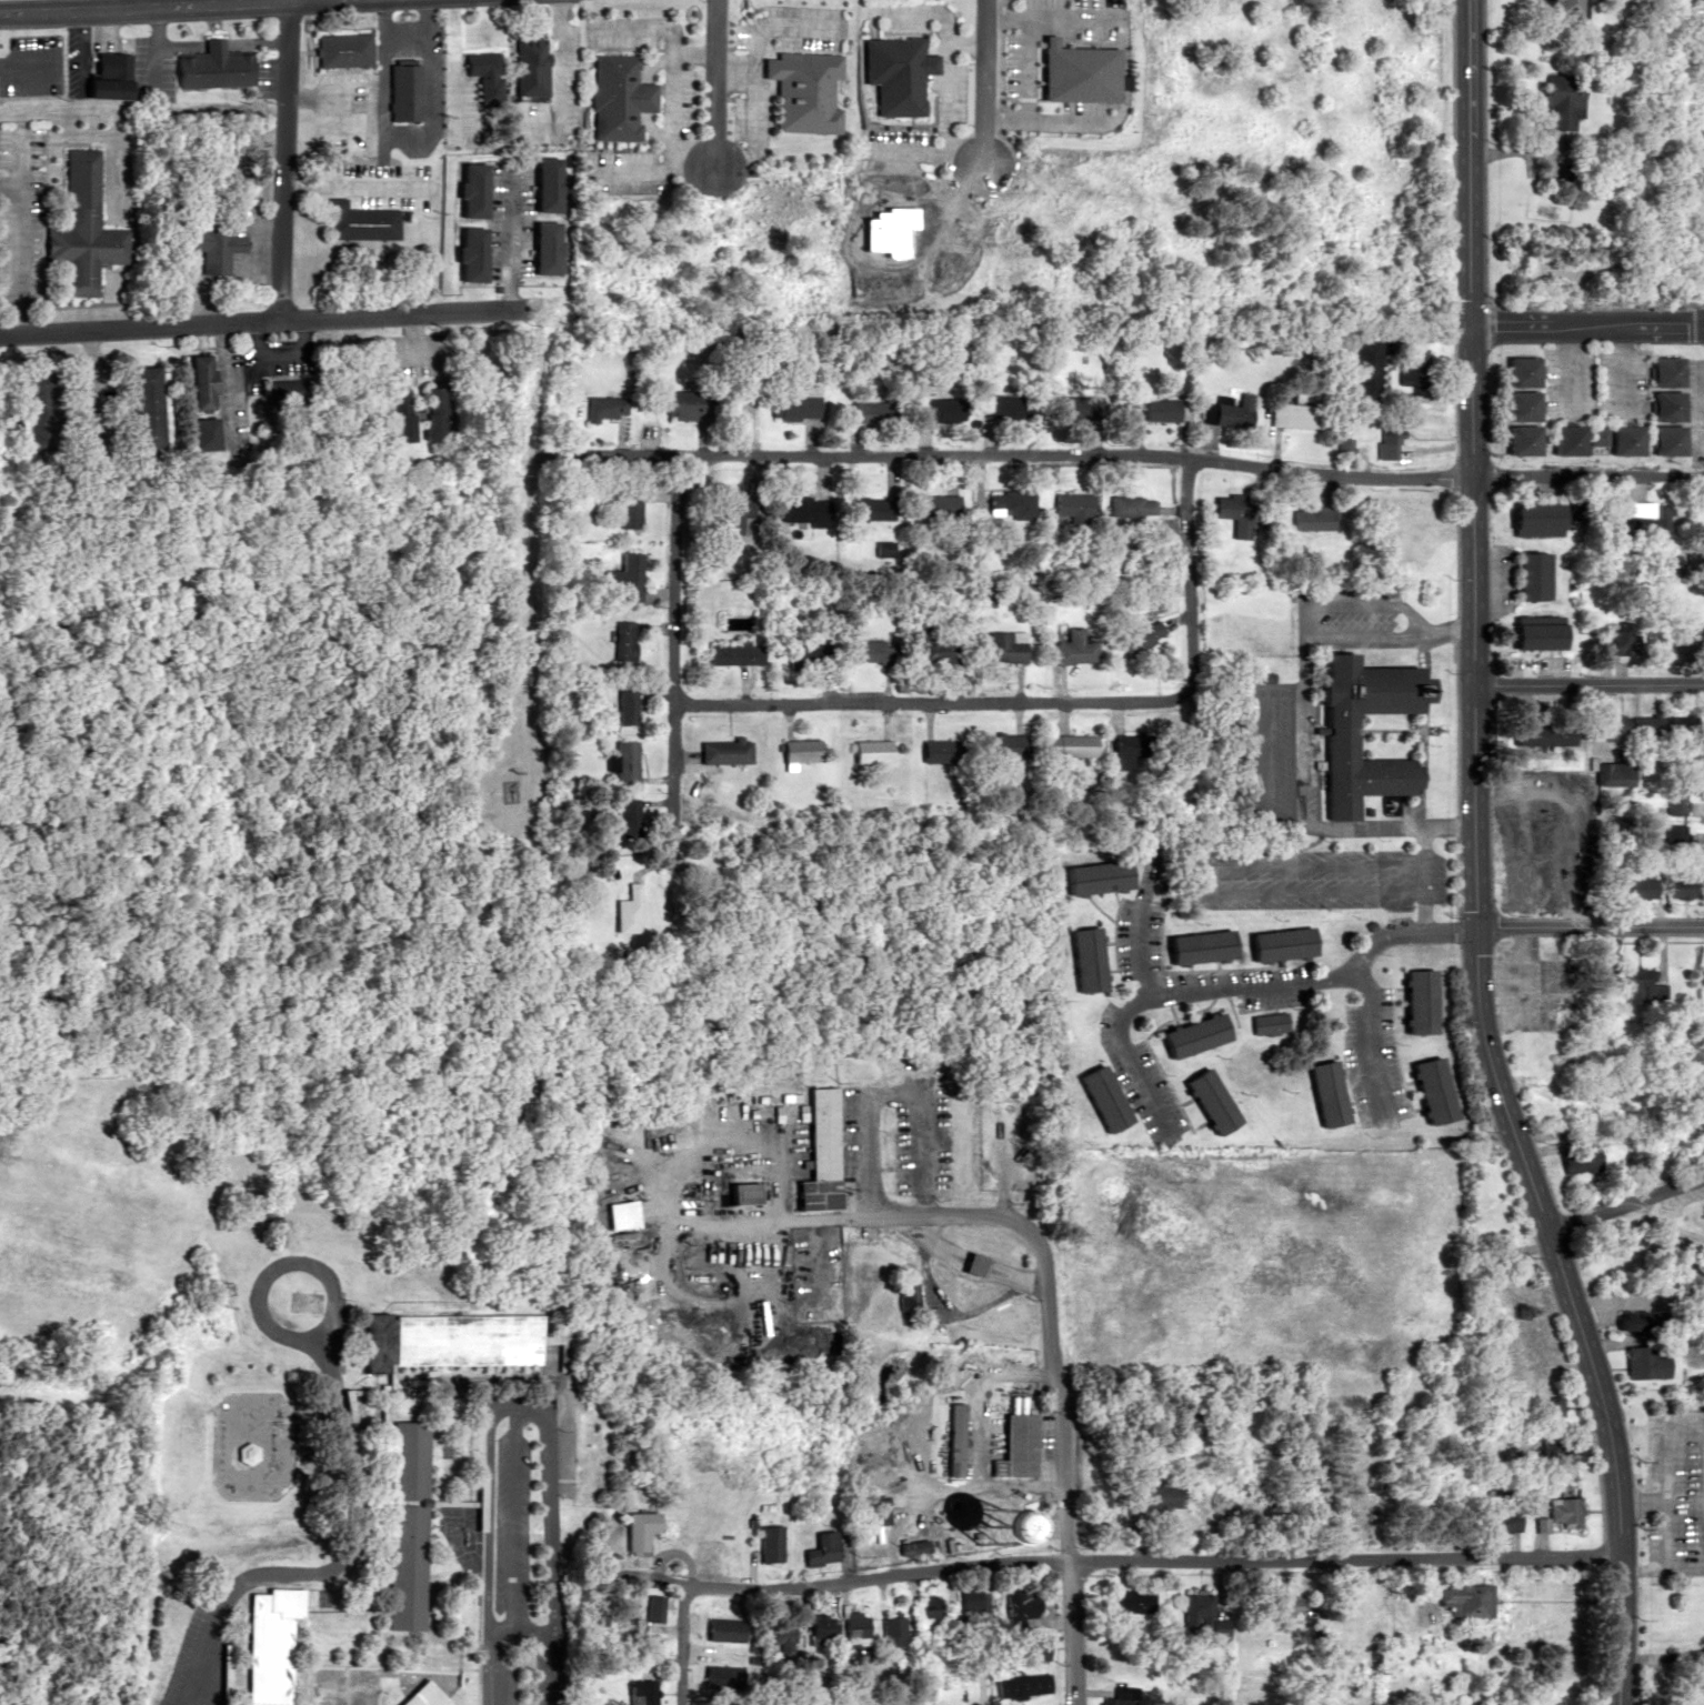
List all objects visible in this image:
road: (118, 3)
road: (143, 6)
building: (1558, 7)
building: (343, 50)
building: (479, 62)
road: (558, 63)
building: (215, 67)
building: (528, 68)
building: (890, 72)
building: (114, 76)
road: (985, 84)
road: (715, 87)
building: (800, 89)
building: (403, 91)
building: (614, 96)
building: (1557, 99)
road: (279, 159)
building: (541, 183)
building: (468, 190)
building: (360, 221)
building: (84, 244)
building: (217, 247)
building: (539, 248)
building: (465, 253)
road: (261, 320)
road: (1587, 325)
building: (1365, 370)
building: (1661, 370)
building: (1412, 371)
building: (1514, 371)
building: (206, 382)
building: (288, 391)
building: (791, 402)
building: (996, 404)
building: (1513, 405)
building: (1661, 405)
building: (150, 407)
building: (1074, 407)
building: (605, 408)
building: (1159, 408)
building: (681, 409)
building: (932, 409)
building: (1230, 410)
building: (40, 412)
building: (864, 412)
building: (438, 413)
building: (1289, 414)
building: (408, 431)
building: (208, 433)
building: (1608, 438)
building: (1386, 440)
building: (1514, 440)
building: (1557, 440)
building: (1658, 440)
building: (1342, 447)
road: (1085, 455)
road: (1587, 475)
building: (1005, 504)
building: (931, 505)
building: (1132, 505)
building: (1606, 505)
building: (1070, 507)
building: (871, 508)
building: (628, 509)
building: (800, 510)
building: (731, 511)
building: (1234, 513)
building: (1528, 516)
building: (1646, 518)
building: (1309, 519)
road: (1190, 574)
building: (1524, 575)
building: (628, 579)
road: (674, 632)
building: (1136, 636)
building: (1527, 636)
building: (625, 641)
building: (1620, 642)
building: (999, 645)
building: (803, 648)
building: (1069, 648)
building: (936, 650)
building: (862, 651)
building: (734, 654)
road: (1587, 684)
road: (932, 700)
building: (627, 706)
building: (1622, 724)
building: (1676, 724)
road: (1305, 732)
building: (1335, 735)
building: (1545, 740)
building: (1002, 744)
building: (1064, 745)
building: (796, 751)
building: (868, 751)
building: (936, 751)
building: (1126, 751)
building: (728, 752)
building: (628, 763)
building: (1608, 774)
building: (1671, 800)
building: (1507, 829)
road: (1155, 844)
road: (1473, 862)
building: (1676, 864)
building: (1612, 870)
building: (1090, 877)
building: (1511, 879)
building: (1638, 887)
building: (630, 911)
road: (1588, 927)
building: (1275, 944)
building: (1192, 946)
building: (1076, 959)
building: (1504, 974)
building: (1598, 975)
road: (1234, 984)
building: (1641, 984)
building: (1412, 999)
building: (1266, 1023)
building: (1187, 1032)
road: (1376, 1033)
road: (893, 1087)
building: (1425, 1087)
building: (1324, 1091)
building: (1096, 1095)
building: (1205, 1099)
building: (815, 1152)
building: (1576, 1159)
road: (772, 1181)
parking lot: (1703, 1184)
building: (739, 1191)
road: (1693, 1193)
road: (1624, 1208)
building: (1491, 1216)
road: (920, 1217)
road: (668, 1230)
park: (1650, 1244)
building: (968, 1263)
road: (1557, 1312)
road: (298, 1337)
building: (439, 1338)
building: (1638, 1362)
building: (1545, 1402)
building: (948, 1438)
building: (1014, 1441)
building: (1553, 1450)
building: (1703, 1492)
road: (1063, 1495)
building: (1155, 1495)
building: (868, 1508)
building: (1560, 1511)
building: (1494, 1520)
building: (402, 1524)
building: (630, 1528)
building: (759, 1542)
road: (491, 1543)
road: (557, 1545)
building: (818, 1548)
road: (1147, 1559)
road: (337, 1563)
building: (968, 1598)
building: (1457, 1598)
building: (1131, 1601)
building: (1019, 1603)
building: (924, 1605)
building: (1280, 1605)
building: (646, 1607)
building: (591, 1611)
building: (1199, 1614)
building: (619, 1615)
building: (719, 1628)
building: (815, 1629)
building: (849, 1629)
building: (889, 1631)
building: (773, 1633)
building: (269, 1643)
road: (679, 1645)
building: (1033, 1651)
building: (1023, 1684)
building: (971, 1689)
building: (641, 1692)
building: (419, 1695)
building: (1121, 1696)

